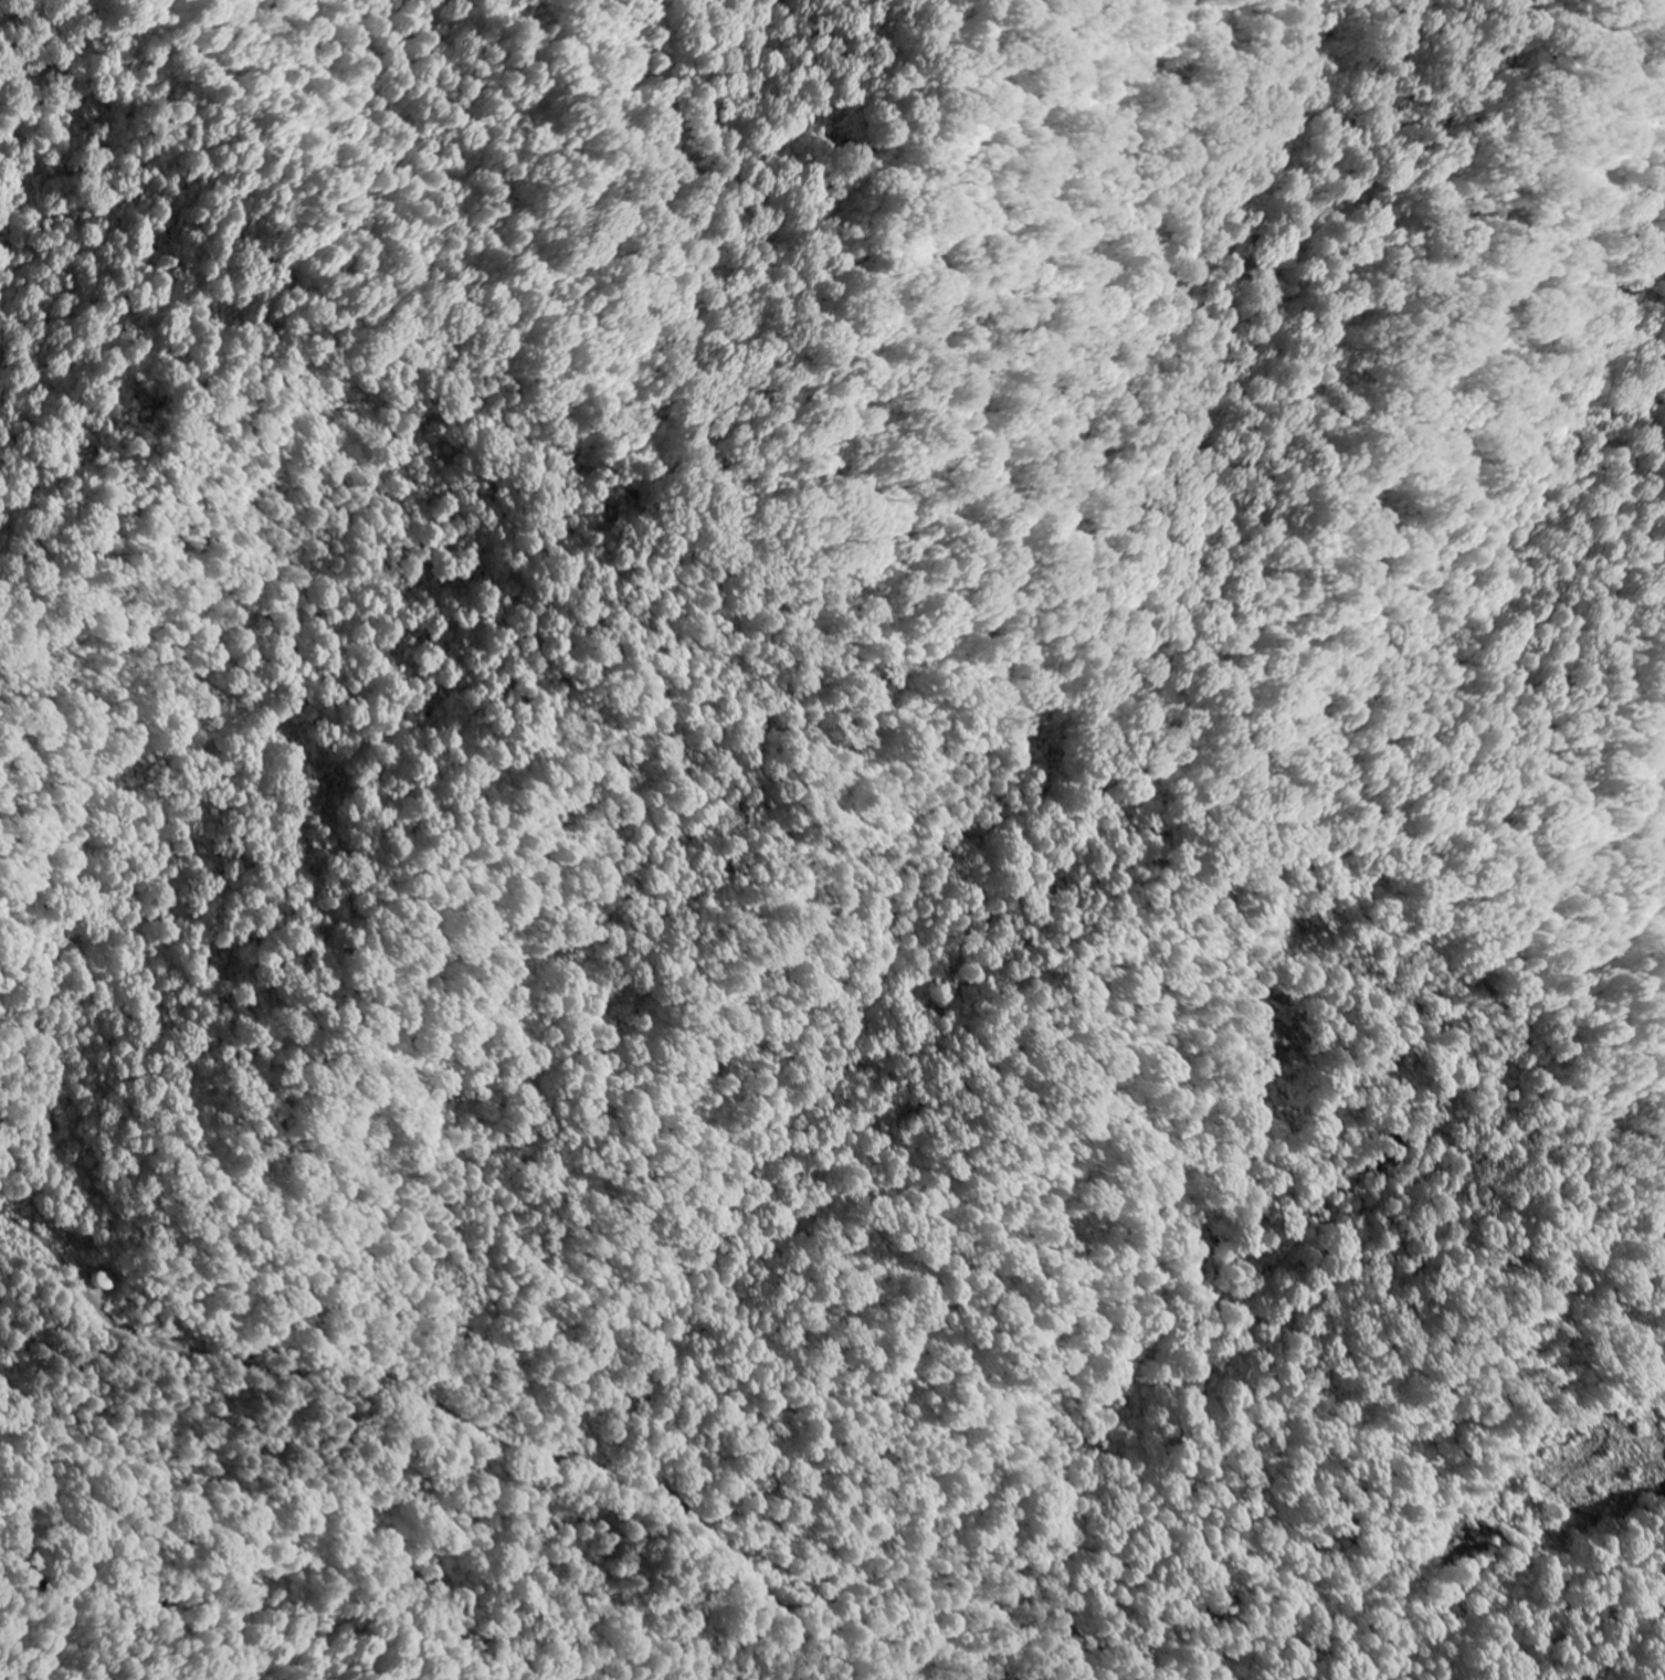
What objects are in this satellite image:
building: (108, 1279)

